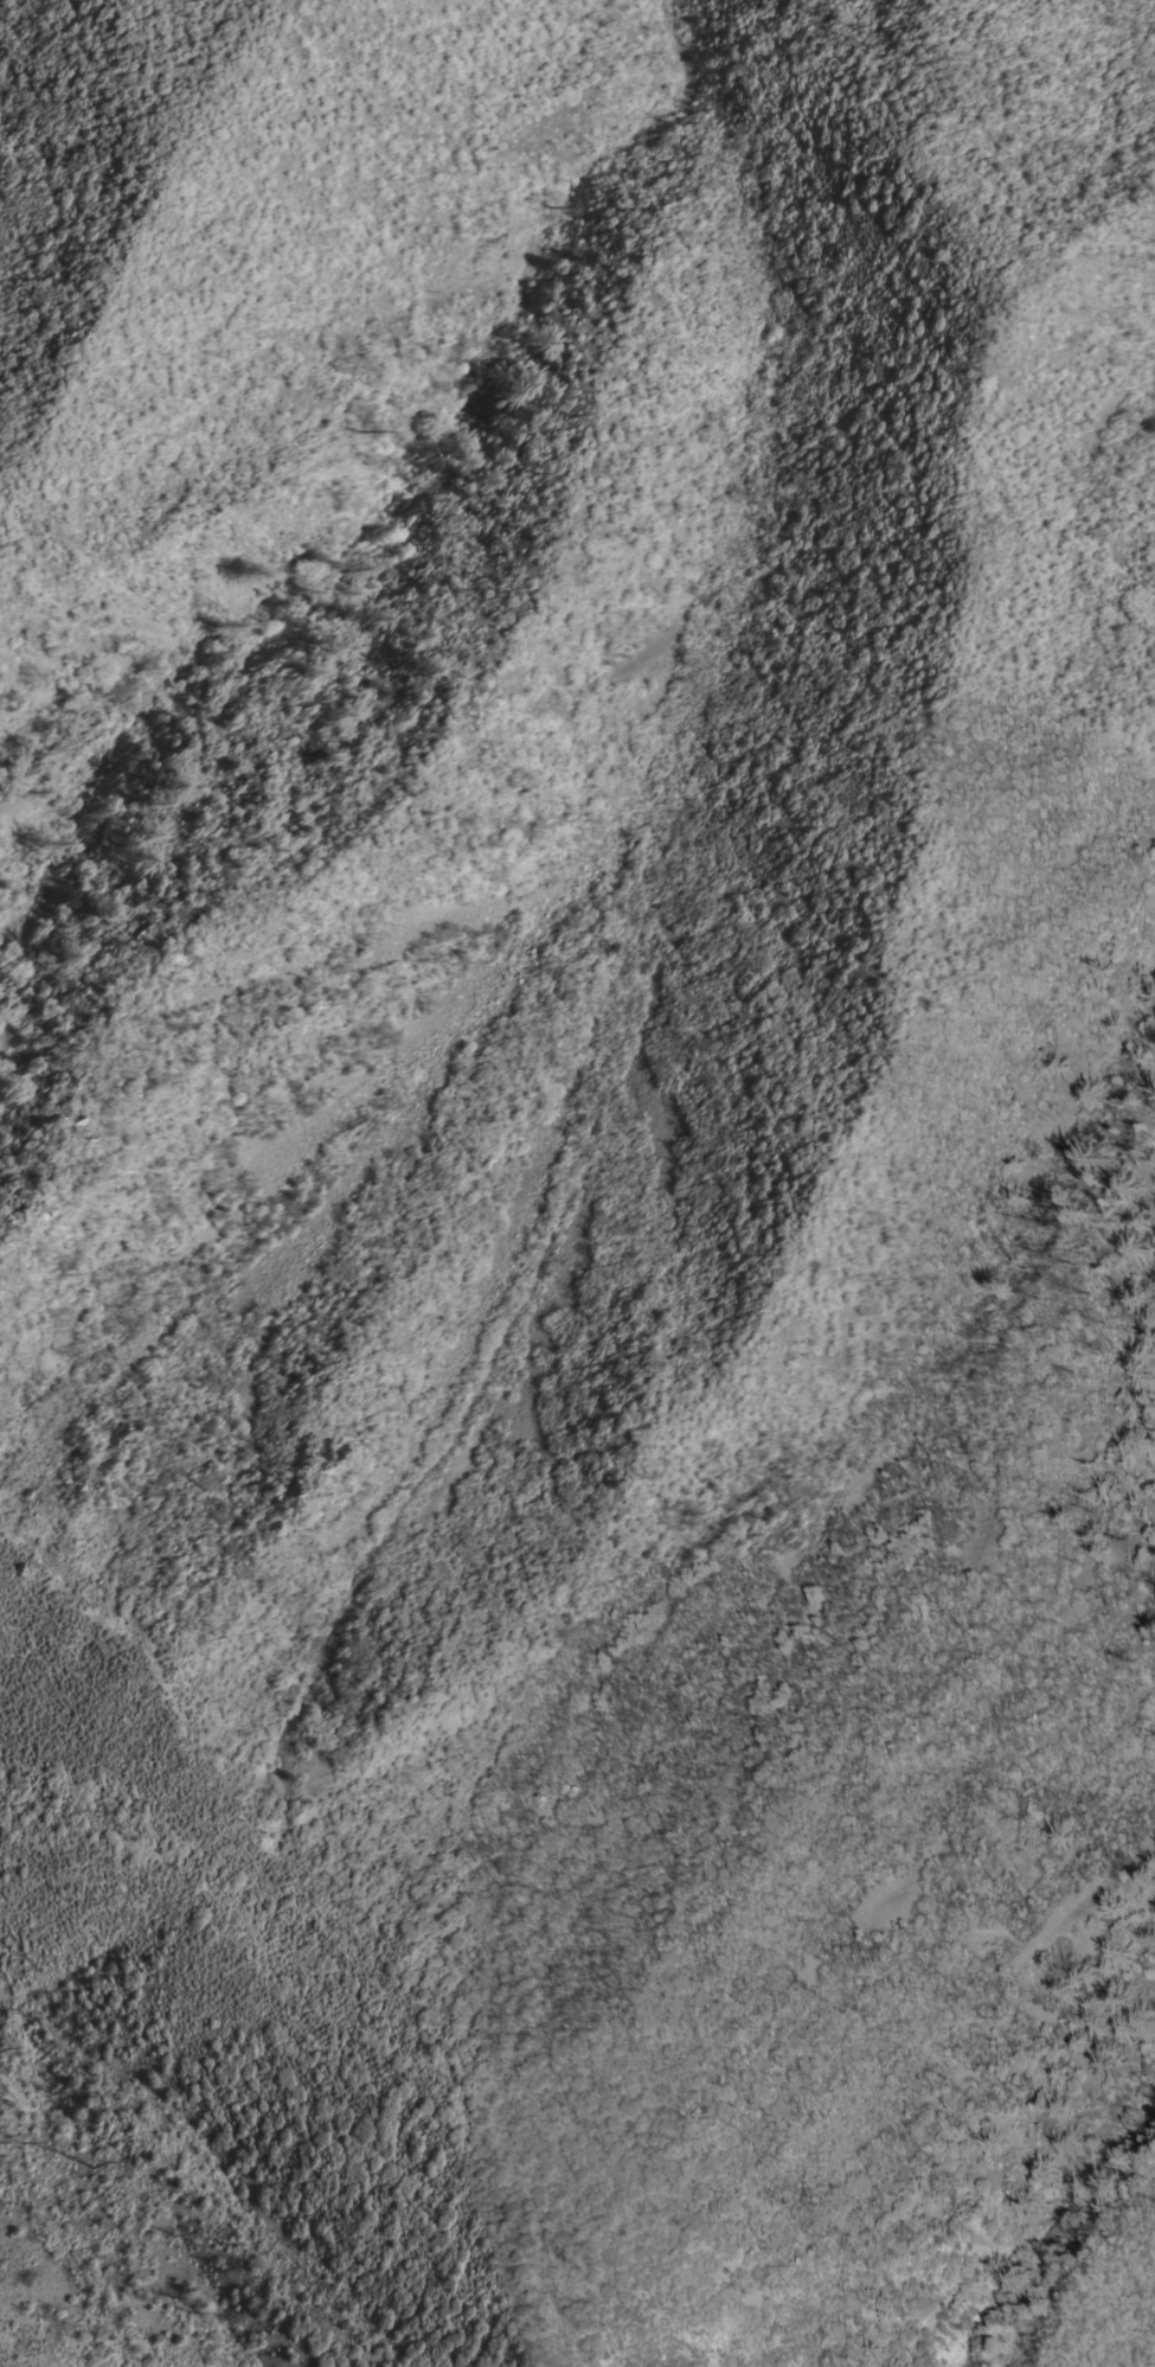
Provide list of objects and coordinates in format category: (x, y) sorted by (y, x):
road: (5, 2090)

